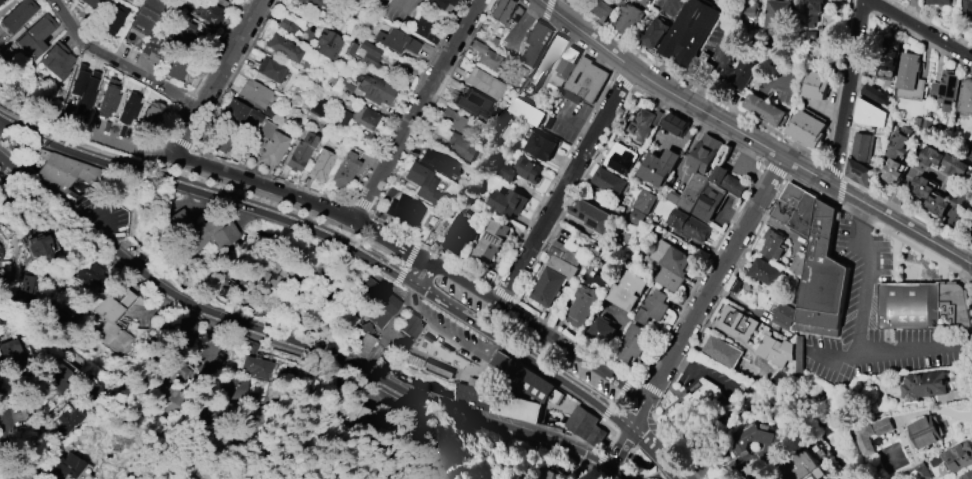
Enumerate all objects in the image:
building: (0, 0)
building: (128, 0)
building: (135, 1)
building: (941, 2)
building: (437, 3)
building: (91, 4)
building: (310, 4)
road: (664, 4)
building: (967, 7)
building: (498, 10)
building: (600, 10)
road: (550, 11)
building: (814, 11)
building: (750, 13)
building: (16, 14)
building: (210, 14)
building: (145, 15)
building: (779, 18)
building: (112, 19)
building: (628, 19)
building: (285, 24)
road: (726, 27)
road: (925, 27)
building: (422, 29)
building: (689, 31)
building: (655, 33)
building: (33, 35)
building: (396, 41)
building: (532, 42)
building: (328, 44)
building: (283, 47)
building: (152, 49)
road: (229, 51)
building: (364, 53)
building: (486, 56)
building: (888, 58)
building: (55, 59)
road: (118, 60)
building: (542, 65)
building: (175, 67)
building: (564, 67)
building: (270, 69)
building: (701, 71)
building: (908, 71)
building: (737, 74)
road: (162, 77)
building: (586, 80)
road: (628, 81)
building: (483, 83)
building: (816, 85)
building: (345, 88)
building: (82, 89)
building: (374, 89)
building: (945, 89)
road: (849, 91)
building: (254, 92)
building: (872, 93)
building: (965, 96)
building: (107, 98)
road: (176, 103)
building: (475, 105)
building: (127, 108)
road: (415, 109)
building: (763, 109)
road: (853, 111)
building: (527, 112)
building: (151, 113)
building: (234, 113)
road: (25, 114)
building: (254, 115)
building: (870, 115)
building: (339, 116)
building: (364, 116)
building: (451, 119)
building: (644, 123)
building: (675, 124)
road: (578, 125)
road: (765, 125)
building: (805, 129)
road: (184, 132)
road: (753, 136)
building: (219, 140)
building: (271, 144)
building: (540, 146)
building: (461, 148)
building: (299, 152)
building: (896, 152)
building: (970, 154)
parking lot: (3, 159)
building: (620, 159)
building: (860, 159)
building: (946, 162)
building: (440, 163)
building: (320, 164)
building: (659, 167)
building: (63, 168)
building: (521, 169)
building: (344, 170)
building: (696, 171)
building: (421, 181)
building: (608, 181)
road: (296, 185)
road: (569, 187)
building: (717, 191)
building: (930, 195)
road: (361, 201)
building: (644, 201)
building: (508, 202)
building: (958, 210)
building: (404, 211)
parking lot: (108, 215)
building: (591, 216)
building: (635, 217)
building: (175, 221)
building: (687, 225)
building: (440, 227)
road: (756, 228)
building: (209, 235)
building: (971, 235)
building: (460, 236)
road: (861, 237)
road: (331, 238)
building: (490, 241)
building: (773, 244)
building: (39, 249)
building: (599, 252)
road: (731, 257)
road: (427, 261)
building: (819, 262)
building: (669, 264)
building: (270, 270)
building: (86, 271)
building: (766, 272)
building: (554, 274)
building: (591, 276)
road: (425, 277)
road: (969, 279)
road: (489, 281)
building: (28, 284)
building: (624, 289)
road: (509, 294)
building: (372, 300)
building: (581, 305)
building: (912, 306)
building: (652, 307)
building: (57, 317)
building: (109, 322)
building: (737, 323)
building: (409, 326)
road: (447, 330)
building: (600, 330)
road: (298, 337)
building: (176, 341)
building: (632, 343)
building: (362, 344)
building: (247, 345)
road: (288, 350)
building: (774, 350)
building: (721, 351)
road: (831, 354)
road: (872, 354)
building: (12, 357)
building: (799, 357)
building: (256, 367)
building: (177, 372)
road: (701, 373)
road: (648, 374)
building: (521, 375)
building: (57, 377)
road: (661, 379)
road: (214, 383)
building: (928, 386)
building: (91, 387)
building: (235, 387)
building: (496, 402)
building: (696, 405)
road: (639, 414)
building: (358, 420)
building: (68, 421)
building: (580, 421)
building: (884, 427)
building: (924, 433)
building: (595, 435)
building: (863, 439)
road: (620, 447)
building: (758, 447)
road: (652, 452)
road: (3, 456)
building: (956, 457)
building: (70, 467)
building: (799, 467)
building: (919, 472)
building: (758, 475)
building: (966, 475)
building: (828, 478)

